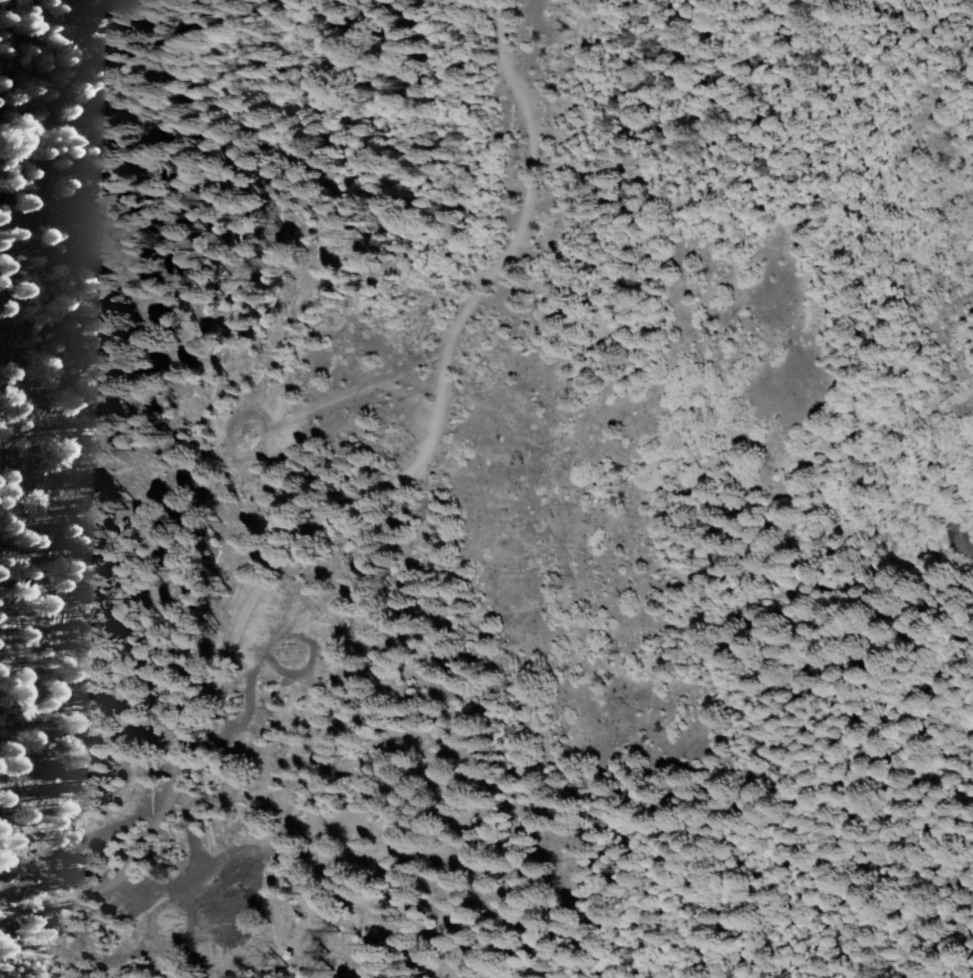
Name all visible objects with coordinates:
road: (392, 529)

